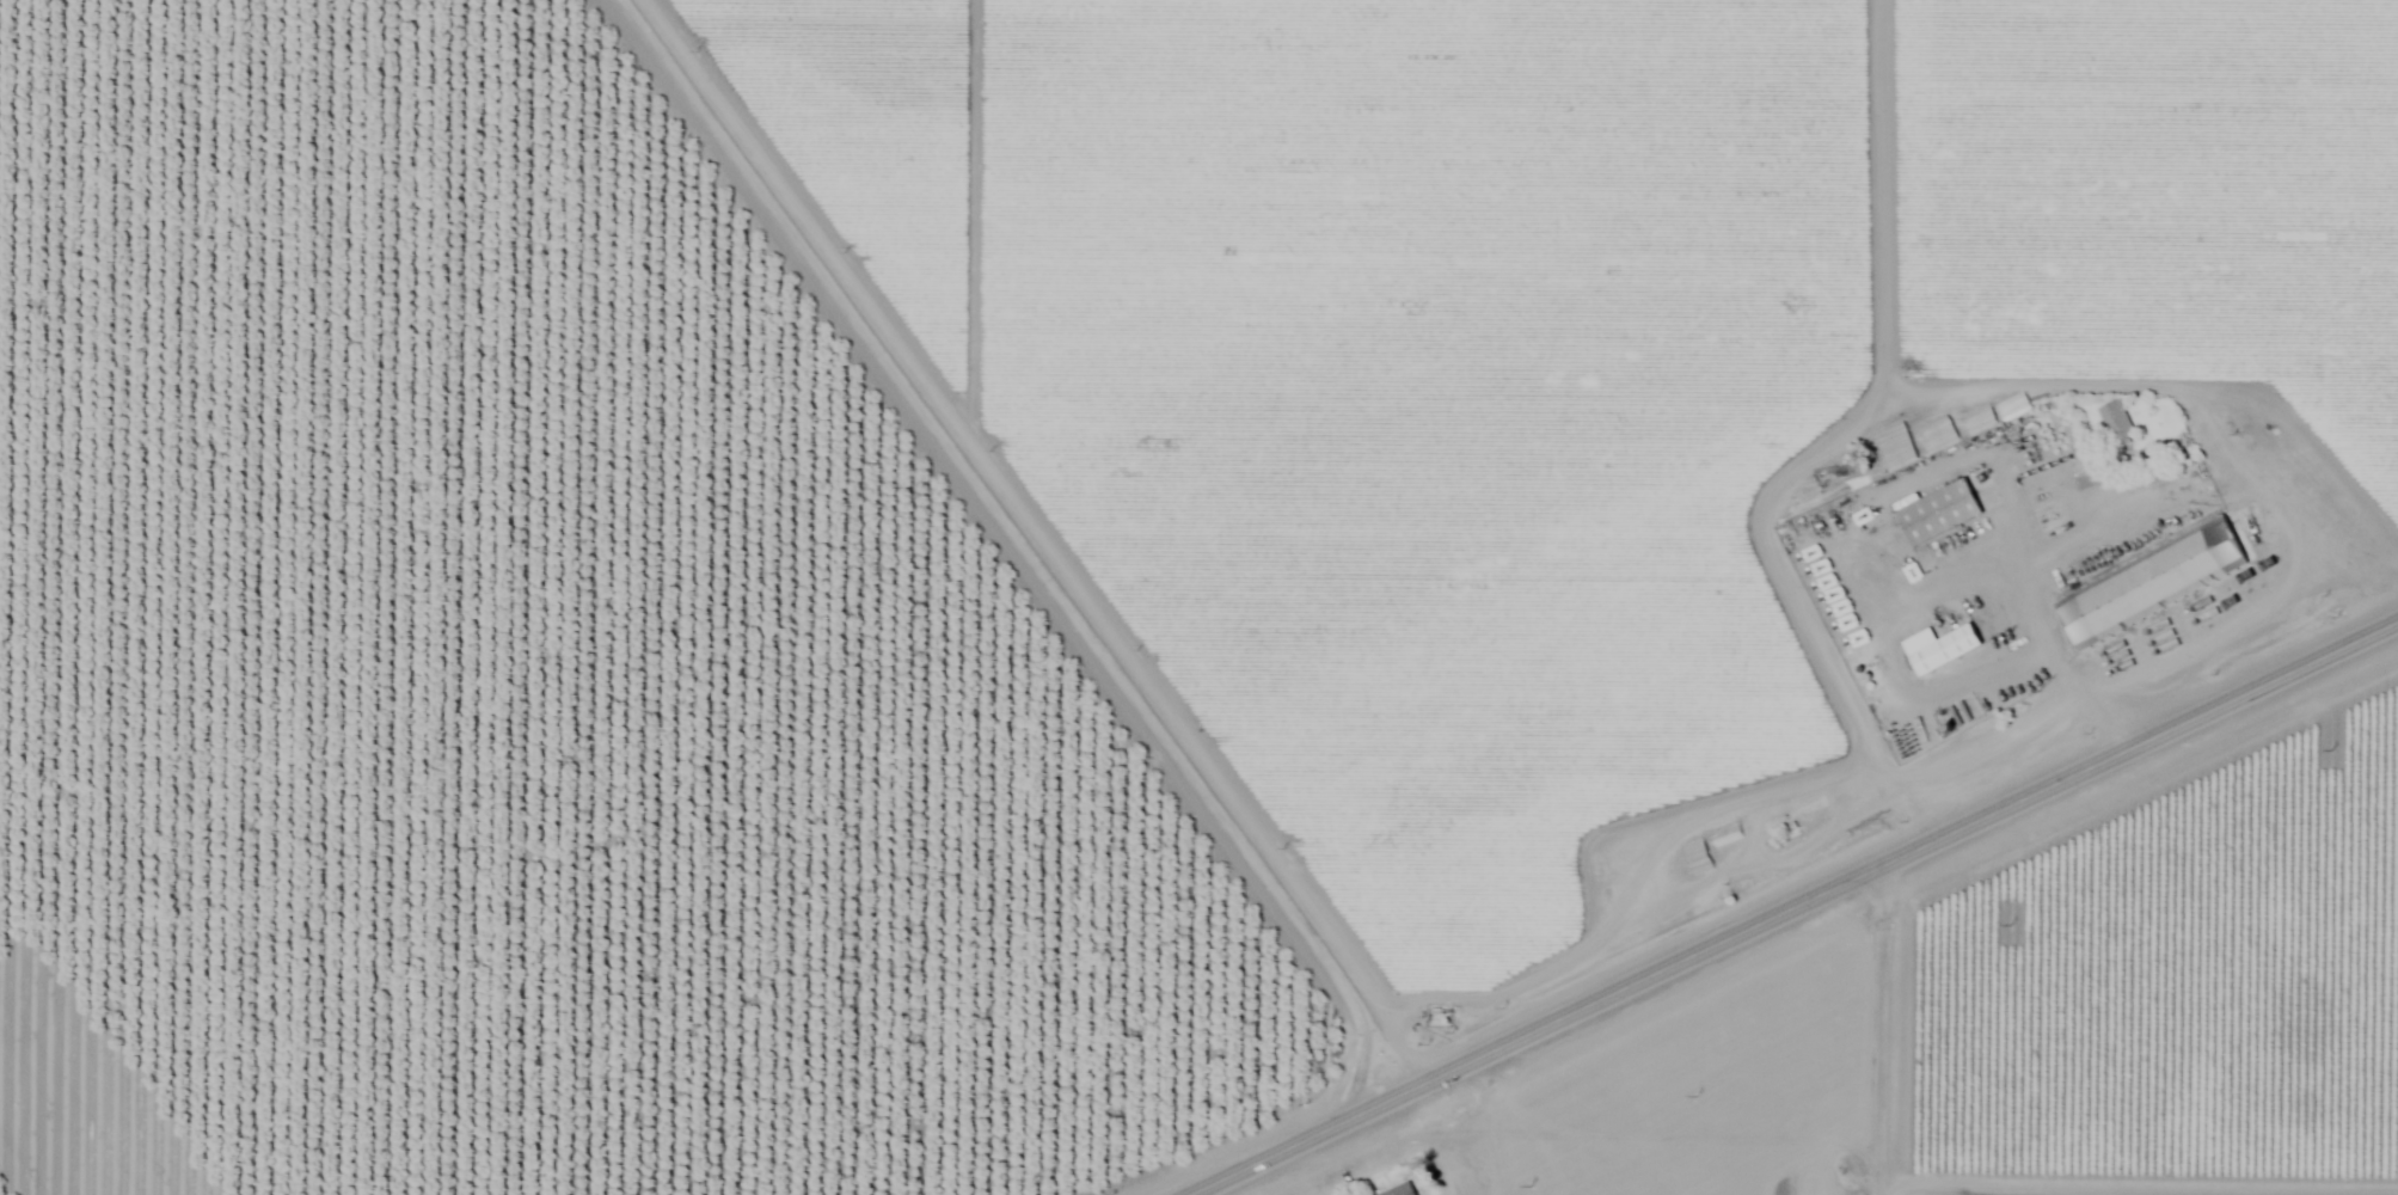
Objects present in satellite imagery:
crop: (1569, 349)
building: (2117, 421)
building: (1938, 509)
road: (2121, 517)
building: (2151, 580)
road: (956, 599)
building: (1940, 646)
road: (1749, 889)
building: (1400, 1189)

